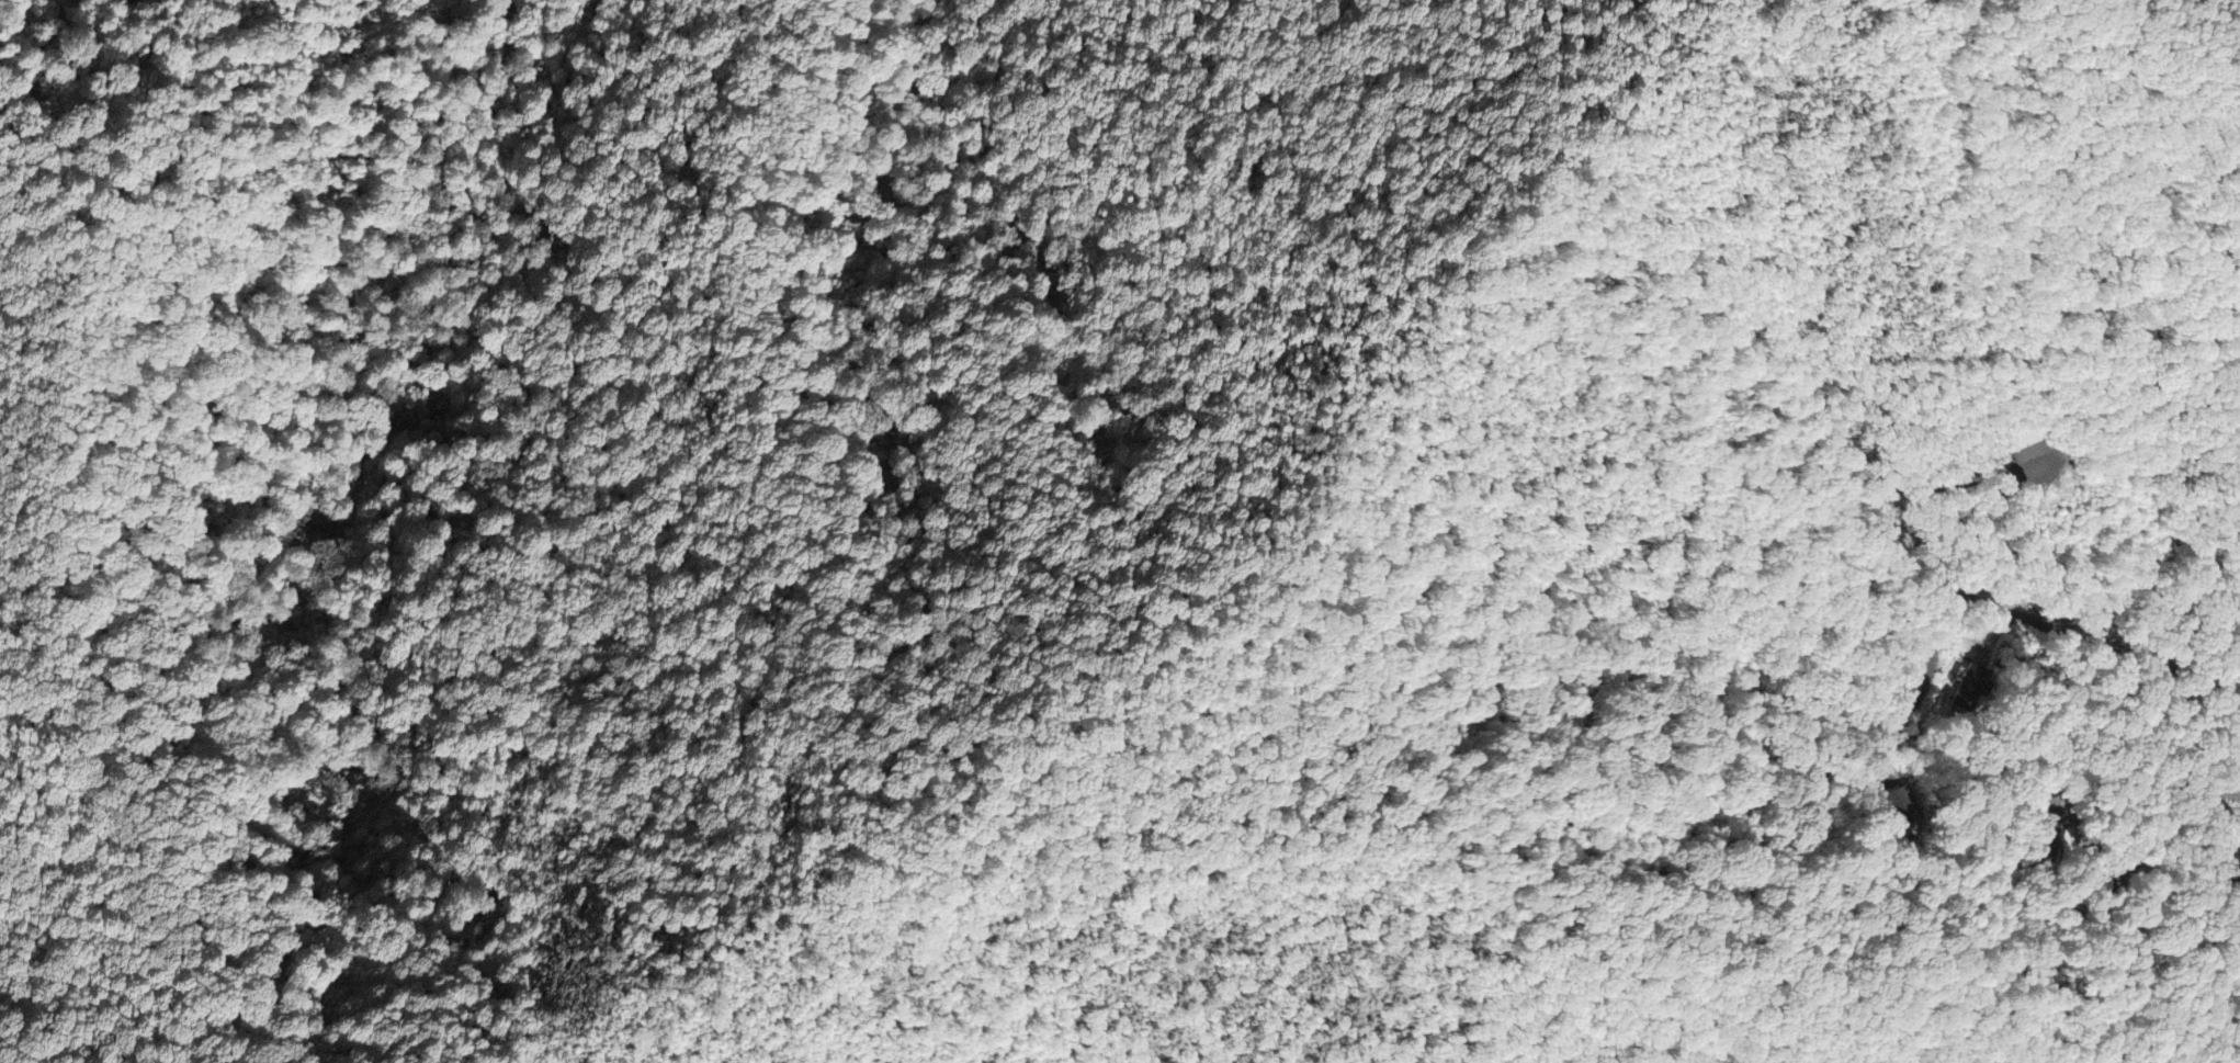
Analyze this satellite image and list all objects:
road: (1882, 540)
road: (2043, 622)
building: (1972, 689)
building: (2236, 857)
road: (2122, 891)
road: (2227, 1053)

